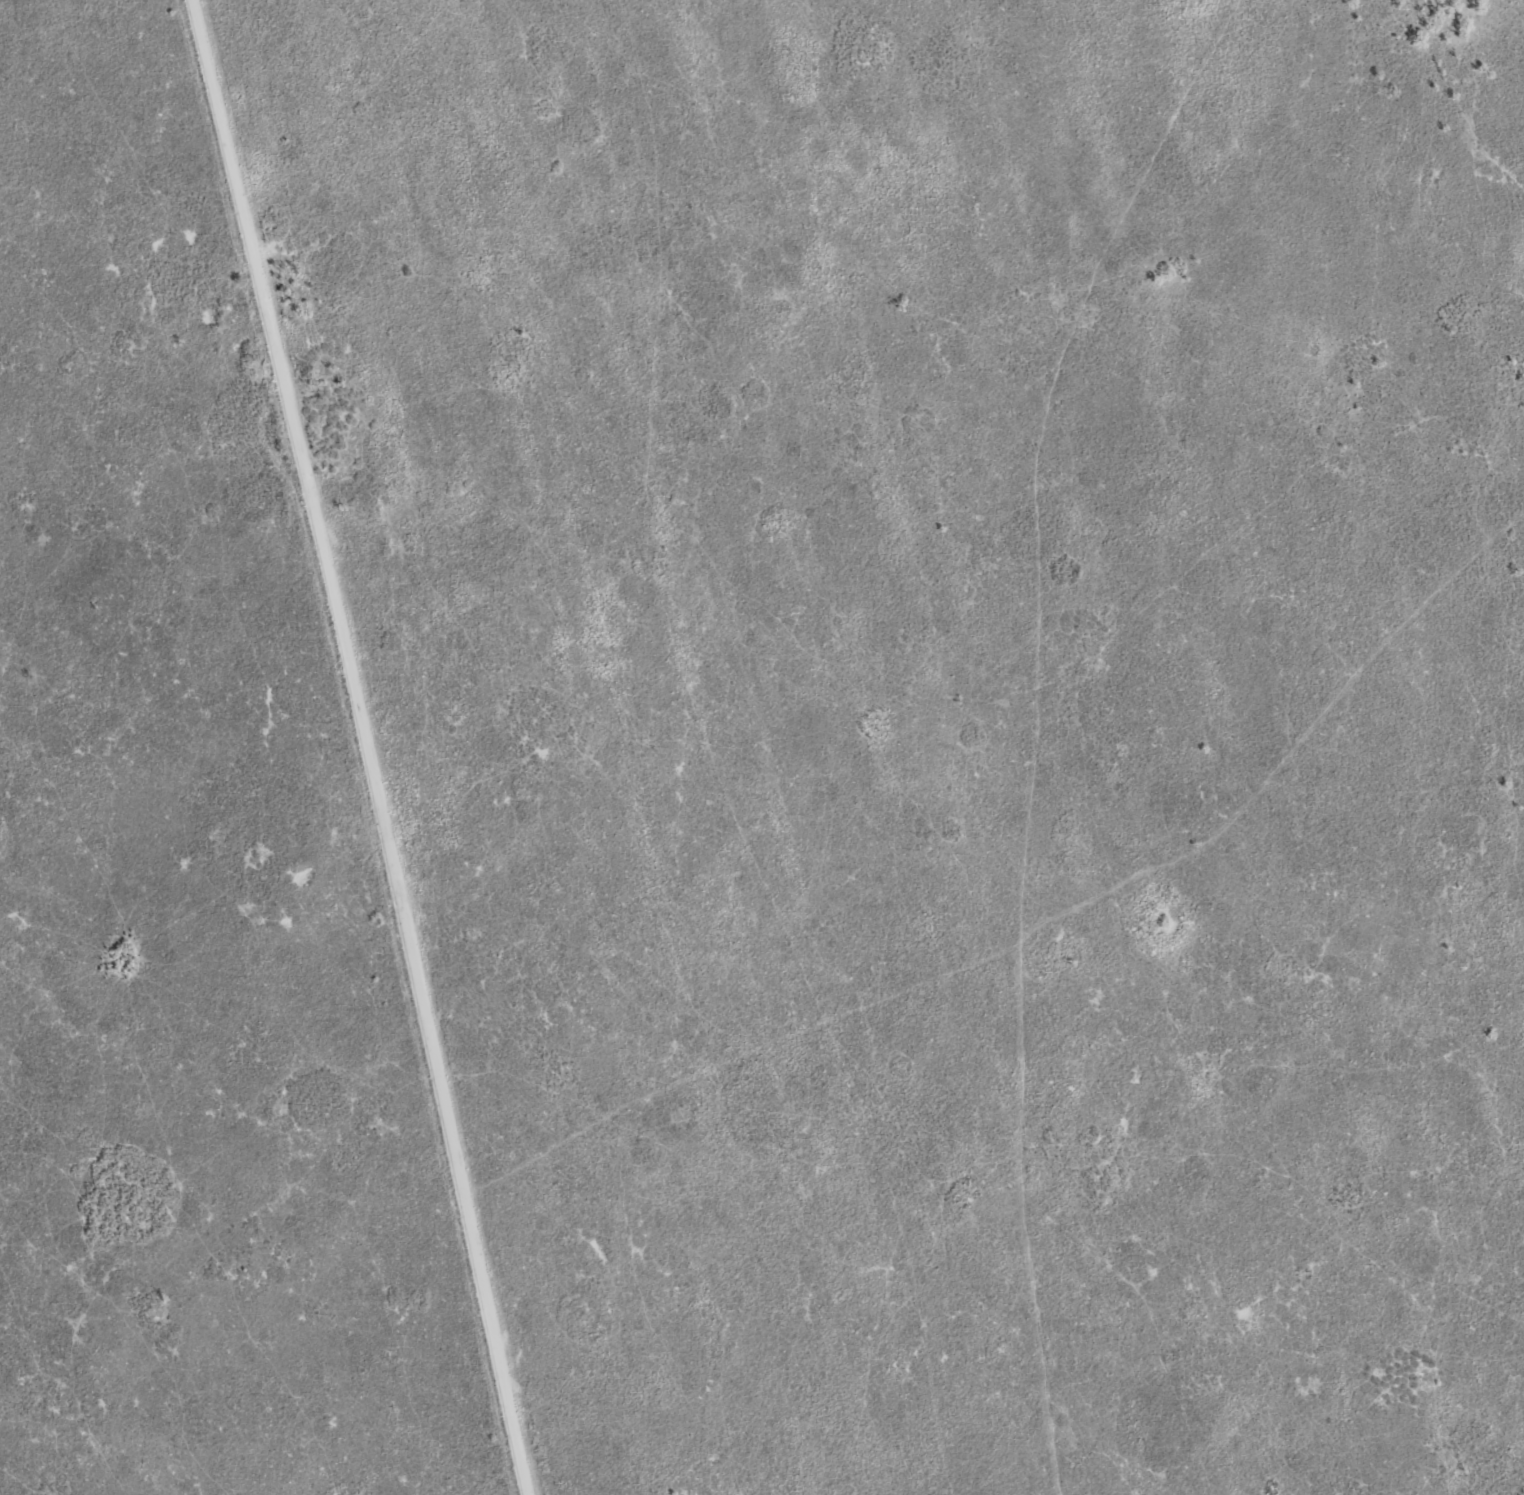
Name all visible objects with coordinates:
road: (400, 747)

